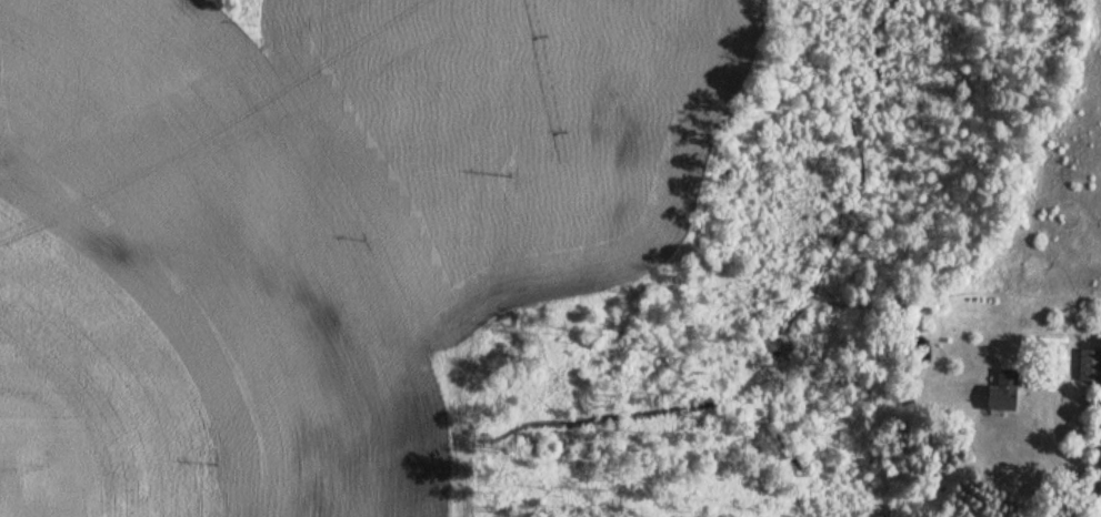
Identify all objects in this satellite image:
power tower: (502, 186)
building: (1089, 366)
building: (1001, 393)
road: (1060, 455)
power tower: (220, 460)

